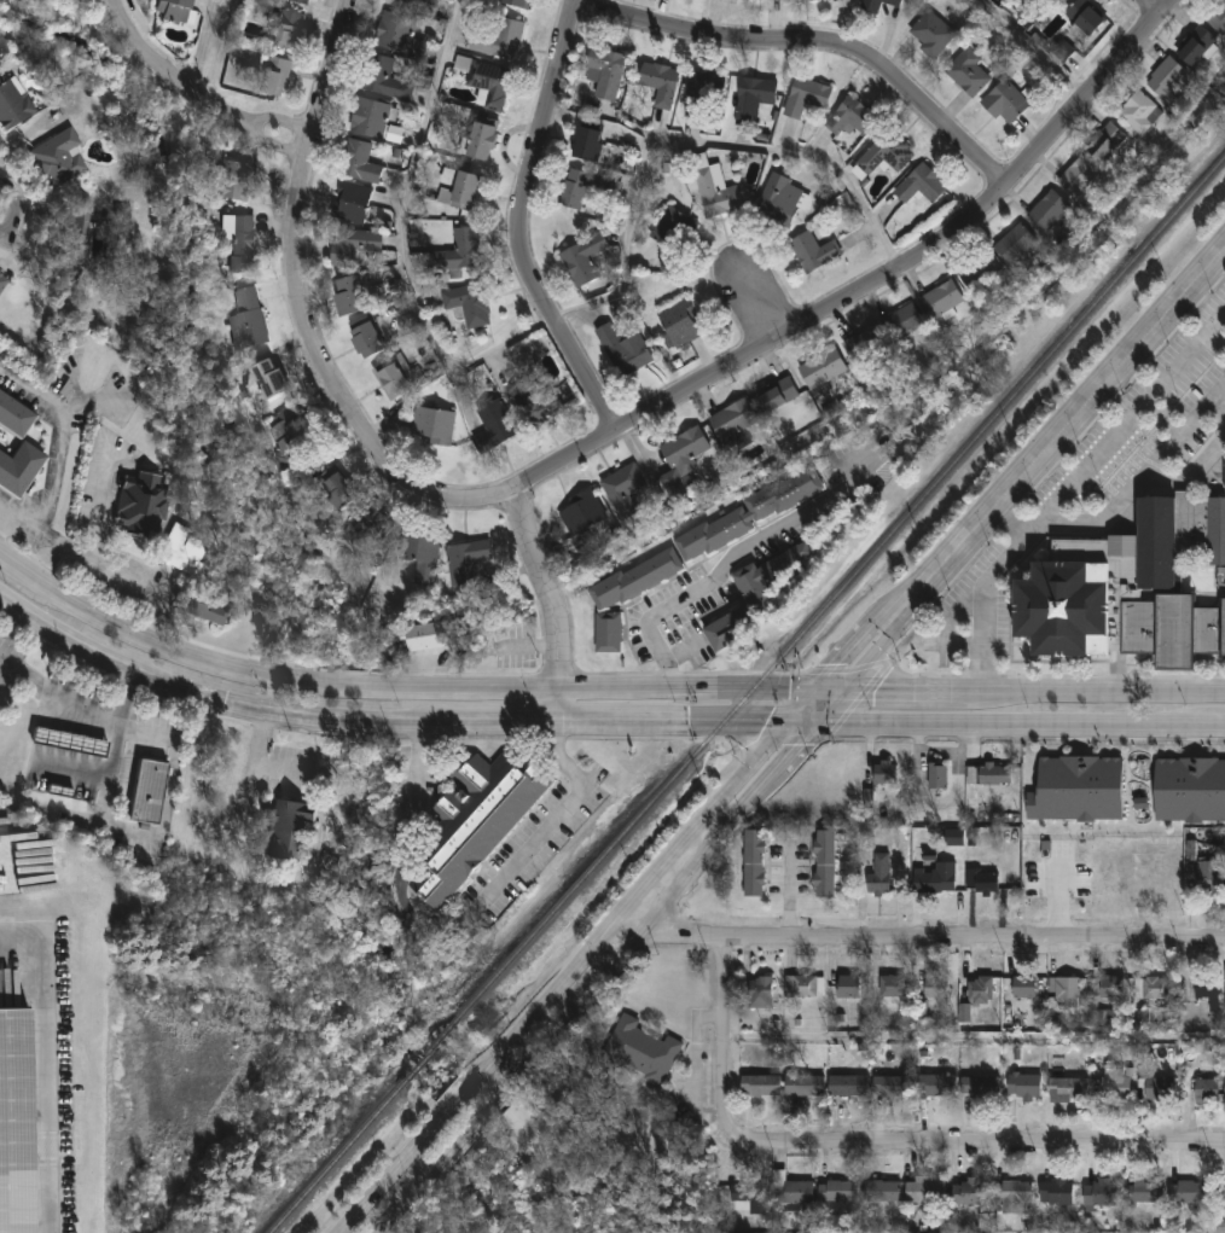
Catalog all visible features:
building: (306, 0)
building: (510, 1)
building: (894, 1)
road: (105, 2)
building: (411, 4)
building: (871, 5)
road: (1156, 6)
building: (168, 10)
building: (1217, 14)
building: (1084, 16)
building: (286, 28)
building: (393, 29)
building: (933, 33)
building: (498, 37)
building: (1195, 43)
road: (204, 46)
road: (811, 50)
road: (1026, 50)
road: (220, 51)
building: (1062, 51)
building: (605, 70)
building: (969, 71)
building: (273, 75)
road: (173, 76)
building: (385, 77)
building: (1166, 77)
building: (660, 81)
building: (489, 82)
building: (706, 89)
building: (754, 94)
building: (806, 94)
building: (1005, 101)
building: (10, 103)
building: (1140, 111)
building: (852, 115)
building: (370, 116)
building: (394, 134)
road: (296, 138)
building: (482, 139)
road: (302, 140)
building: (587, 141)
building: (1105, 141)
building: (887, 152)
building: (54, 158)
building: (359, 161)
building: (1081, 175)
building: (233, 179)
building: (922, 182)
building: (585, 186)
building: (459, 187)
building: (716, 193)
building: (779, 198)
building: (352, 200)
road: (7, 204)
building: (1050, 211)
building: (672, 227)
building: (76, 238)
building: (242, 242)
building: (1014, 242)
building: (353, 243)
building: (461, 248)
building: (814, 249)
building: (584, 257)
building: (979, 271)
building: (2, 280)
building: (348, 292)
building: (941, 297)
building: (468, 302)
road: (751, 306)
road: (568, 309)
building: (246, 318)
building: (901, 320)
building: (680, 322)
building: (366, 337)
building: (864, 345)
building: (625, 349)
building: (821, 366)
road: (724, 367)
road: (323, 368)
building: (268, 377)
building: (391, 377)
building: (777, 394)
building: (539, 399)
road: (1132, 409)
road: (1079, 414)
building: (13, 417)
building: (733, 418)
building: (435, 424)
building: (495, 424)
road: (64, 431)
building: (289, 437)
building: (680, 459)
building: (18, 469)
road: (1144, 472)
building: (337, 488)
building: (622, 489)
building: (143, 504)
road: (99, 510)
building: (581, 512)
road: (10, 513)
building: (749, 514)
road: (1010, 520)
building: (368, 525)
building: (184, 551)
building: (420, 554)
road: (732, 557)
building: (465, 559)
road: (14, 570)
road: (105, 571)
building: (768, 576)
building: (637, 580)
building: (1133, 589)
railway: (841, 591)
road: (986, 595)
road: (553, 606)
building: (209, 607)
building: (728, 629)
building: (609, 633)
building: (430, 634)
road: (892, 635)
traffic signals: (840, 664)
road: (58, 690)
road: (412, 690)
road: (829, 690)
traffic signals: (872, 693)
road: (910, 693)
road: (1102, 694)
road: (213, 702)
road: (829, 706)
road: (620, 723)
traffic signals: (764, 723)
road: (803, 723)
road: (1003, 723)
road: (1207, 725)
building: (70, 741)
road: (796, 746)
traffic signals: (797, 746)
building: (884, 774)
building: (994, 777)
building: (1039, 778)
building: (937, 779)
building: (1208, 779)
building: (1155, 789)
building: (146, 792)
road: (562, 815)
building: (474, 822)
road: (698, 825)
building: (286, 830)
road: (145, 833)
building: (956, 837)
building: (754, 865)
building: (824, 865)
road: (402, 866)
building: (878, 877)
building: (1209, 878)
building: (933, 880)
building: (981, 883)
road: (789, 892)
road: (635, 935)
road: (921, 937)
building: (805, 988)
building: (893, 988)
building: (1024, 988)
building: (1108, 988)
building: (850, 989)
building: (1151, 989)
building: (1206, 989)
building: (1064, 990)
building: (939, 991)
building: (980, 991)
building: (761, 994)
building: (964, 1013)
building: (1103, 1017)
road: (724, 1023)
railway: (430, 1049)
building: (640, 1049)
road: (46, 1062)
building: (759, 1087)
building: (802, 1087)
building: (848, 1087)
building: (936, 1087)
building: (1114, 1087)
building: (892, 1088)
building: (980, 1088)
building: (1023, 1088)
building: (1066, 1089)
building: (1159, 1092)
building: (1206, 1092)
road: (460, 1098)
road: (484, 1118)
building: (17, 1119)
road: (959, 1146)
railway: (337, 1155)
road: (394, 1173)
road: (425, 1183)
building: (791, 1191)
building: (836, 1192)
building: (881, 1192)
building: (1145, 1192)
building: (924, 1193)
building: (969, 1193)
building: (1056, 1193)
building: (1188, 1193)
building: (1099, 1194)
building: (749, 1197)
building: (1012, 1197)
building: (1220, 1198)

